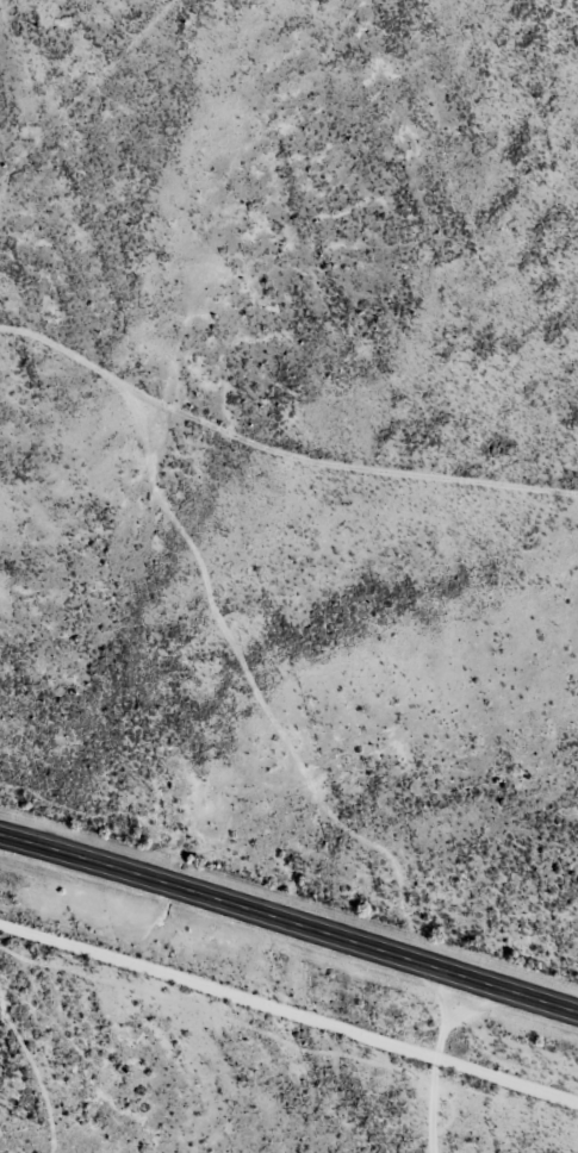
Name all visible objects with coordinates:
road: (290, 921)

